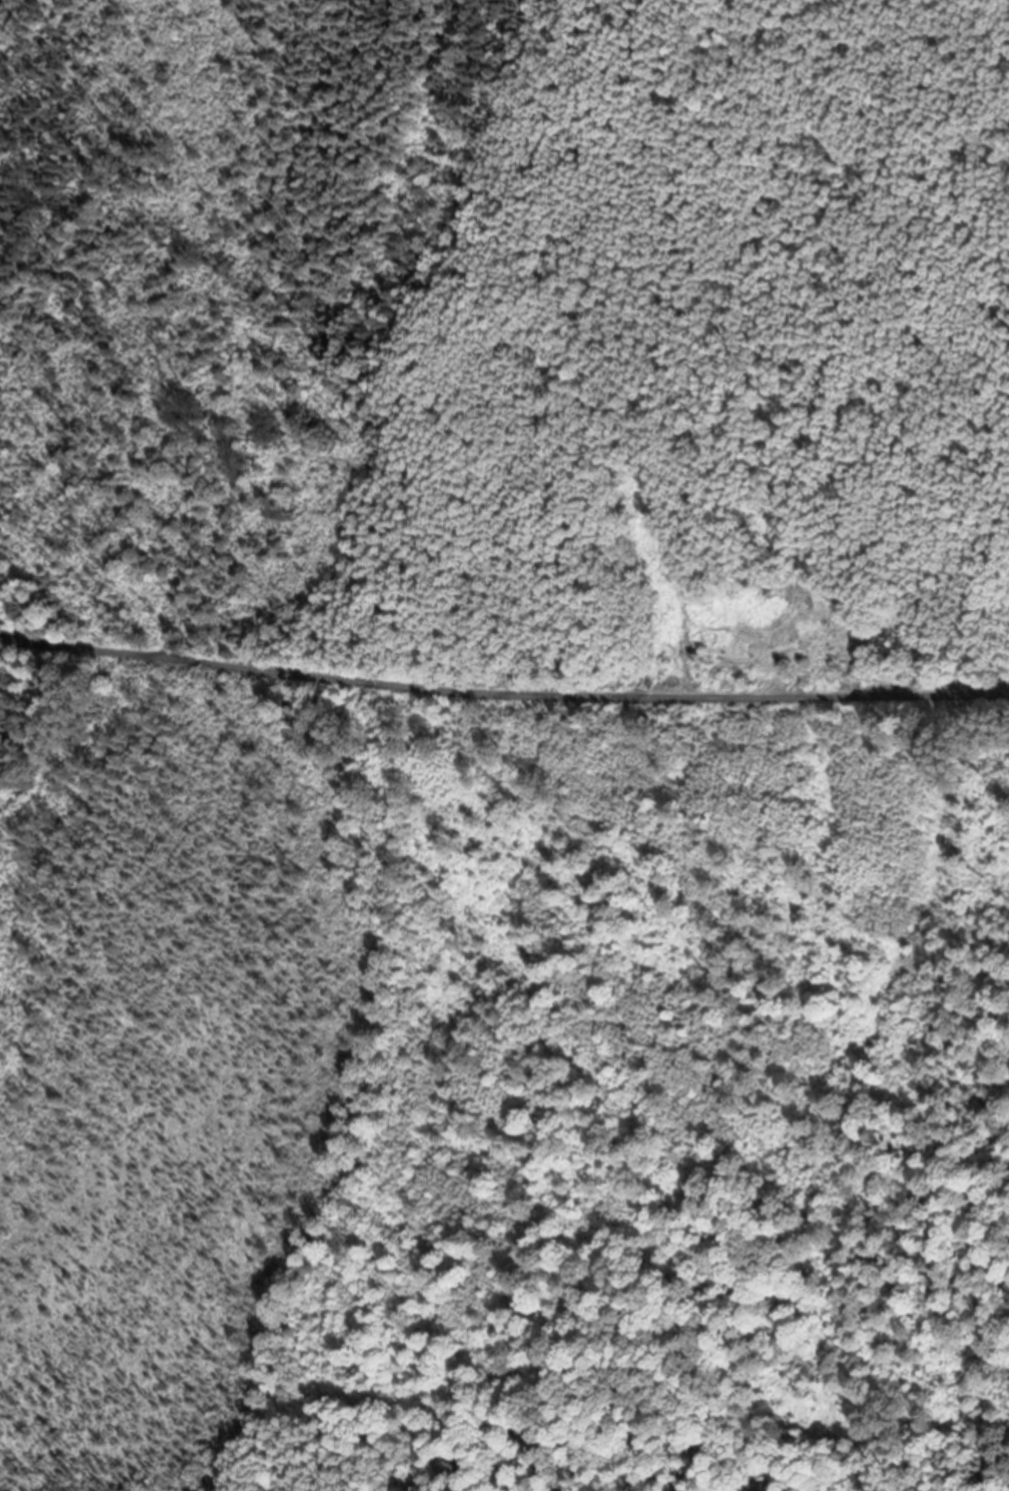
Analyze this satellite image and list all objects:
road: (502, 694)

